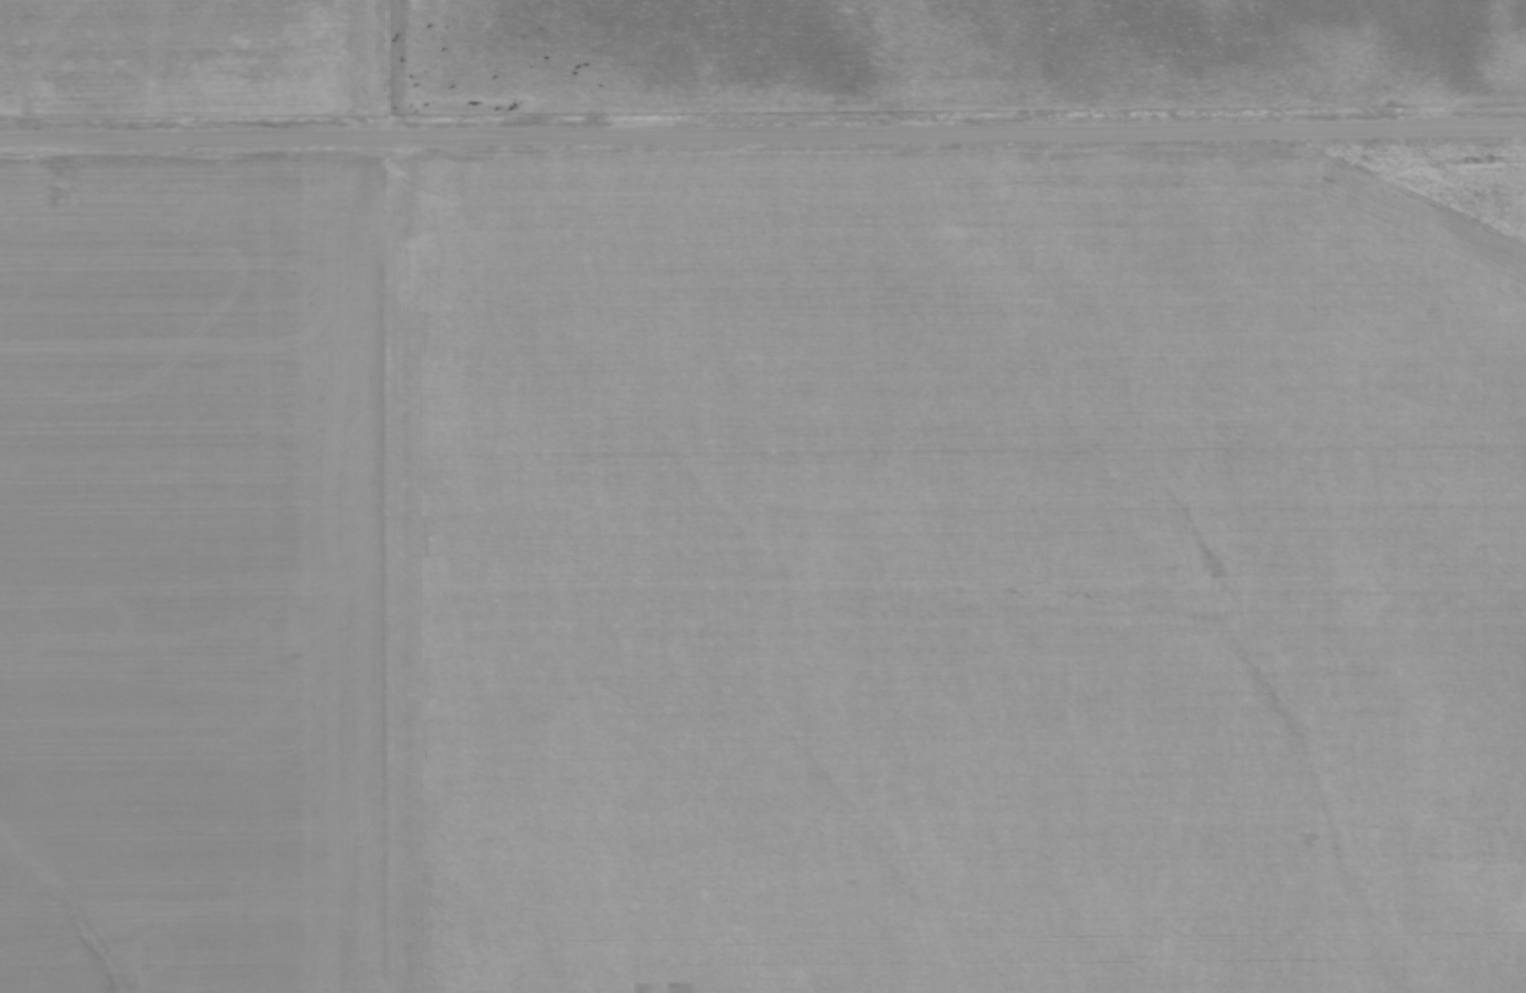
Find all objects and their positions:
road: (763, 133)

